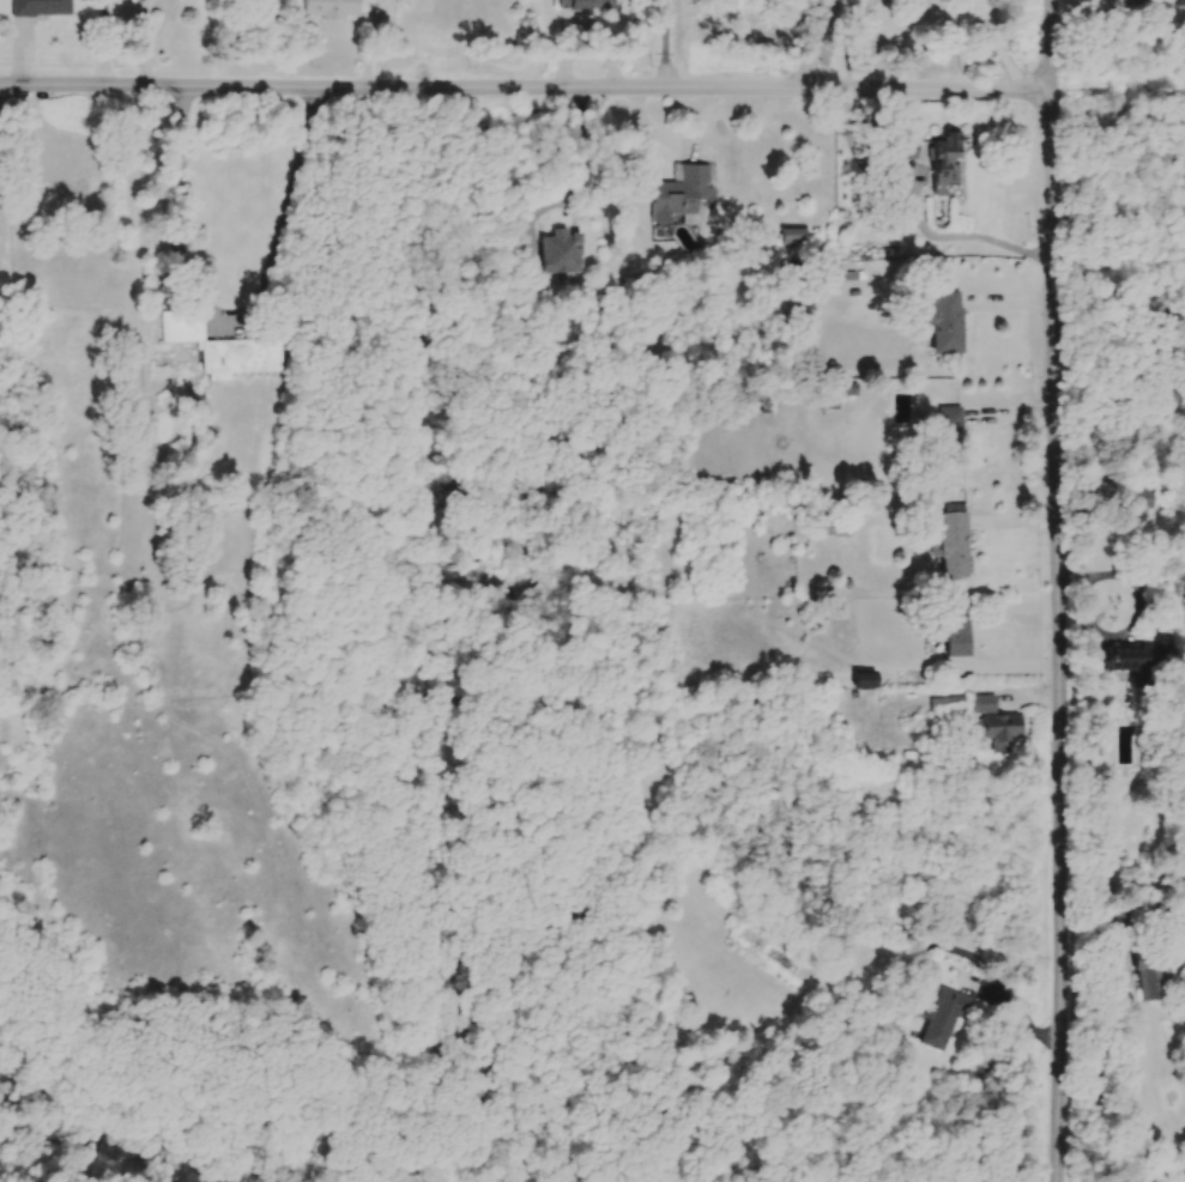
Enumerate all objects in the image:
building: (399, 0)
building: (141, 1)
building: (587, 5)
building: (43, 8)
building: (332, 10)
road: (141, 20)
road: (167, 23)
road: (107, 44)
road: (841, 44)
road: (666, 46)
road: (998, 48)
road: (147, 65)
road: (526, 89)
building: (909, 152)
road: (859, 159)
building: (949, 165)
road: (576, 178)
building: (683, 196)
road: (972, 236)
building: (796, 238)
building: (567, 254)
road: (229, 320)
building: (948, 323)
building: (224, 350)
building: (955, 438)
building: (754, 508)
building: (960, 548)
road: (1056, 590)
road: (1139, 611)
building: (954, 635)
building: (1150, 657)
building: (869, 683)
building: (951, 707)
building: (1008, 734)
building: (1126, 926)
building: (1156, 984)
road: (1010, 1008)
building: (948, 1018)
road: (1104, 1056)
building: (1184, 1174)

